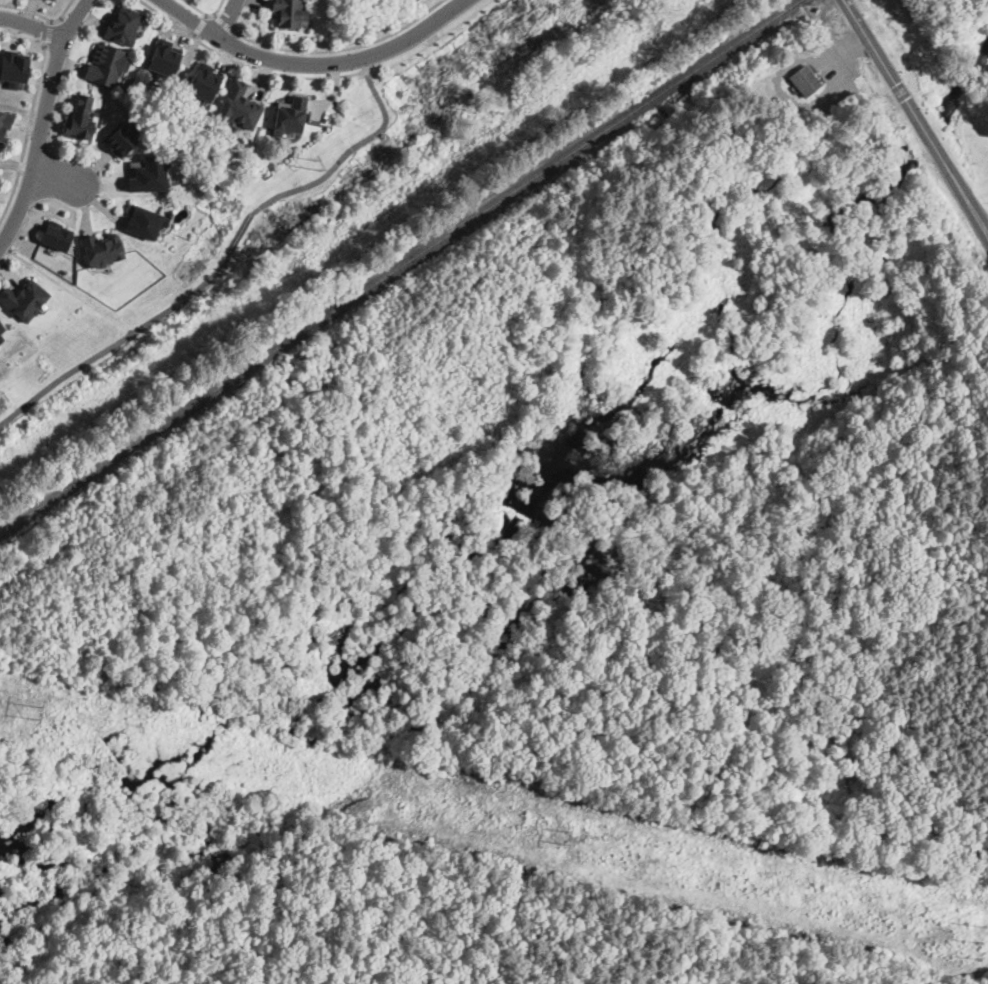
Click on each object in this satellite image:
building: (50, 0)
building: (289, 12)
road: (206, 14)
road: (41, 16)
road: (226, 18)
building: (124, 24)
road: (31, 25)
road: (225, 25)
road: (48, 34)
road: (428, 39)
road: (345, 49)
building: (164, 58)
road: (312, 63)
building: (107, 64)
road: (245, 65)
building: (13, 67)
building: (804, 80)
building: (203, 83)
building: (240, 105)
building: (290, 115)
road: (916, 117)
building: (80, 118)
building: (5, 122)
road: (43, 122)
road: (28, 132)
building: (121, 139)
road: (344, 156)
power tower: (316, 162)
building: (148, 172)
road: (53, 176)
building: (144, 220)
road: (240, 234)
building: (56, 235)
building: (102, 248)
road: (67, 289)
building: (24, 298)
building: (1, 328)
building: (1, 338)
road: (118, 343)
power tower: (35, 709)
power tower: (565, 837)
power tower: (977, 940)

